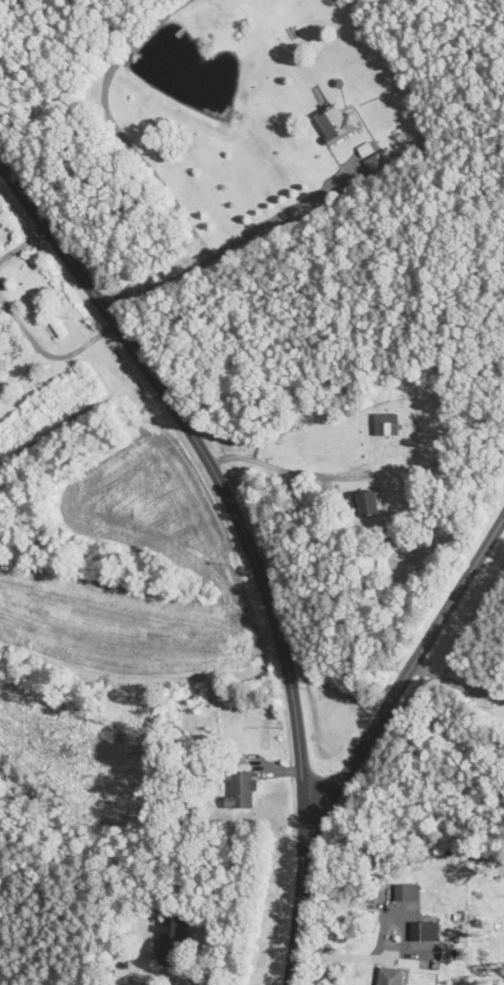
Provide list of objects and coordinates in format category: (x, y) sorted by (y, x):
building: (337, 123)
building: (373, 159)
road: (154, 172)
road: (277, 217)
building: (1, 235)
road: (21, 246)
road: (42, 351)
building: (387, 424)
road: (261, 463)
building: (367, 502)
road: (245, 544)
road: (411, 670)
road: (459, 685)
building: (242, 789)
building: (173, 938)
road: (361, 956)
building: (391, 976)
road: (195, 980)

